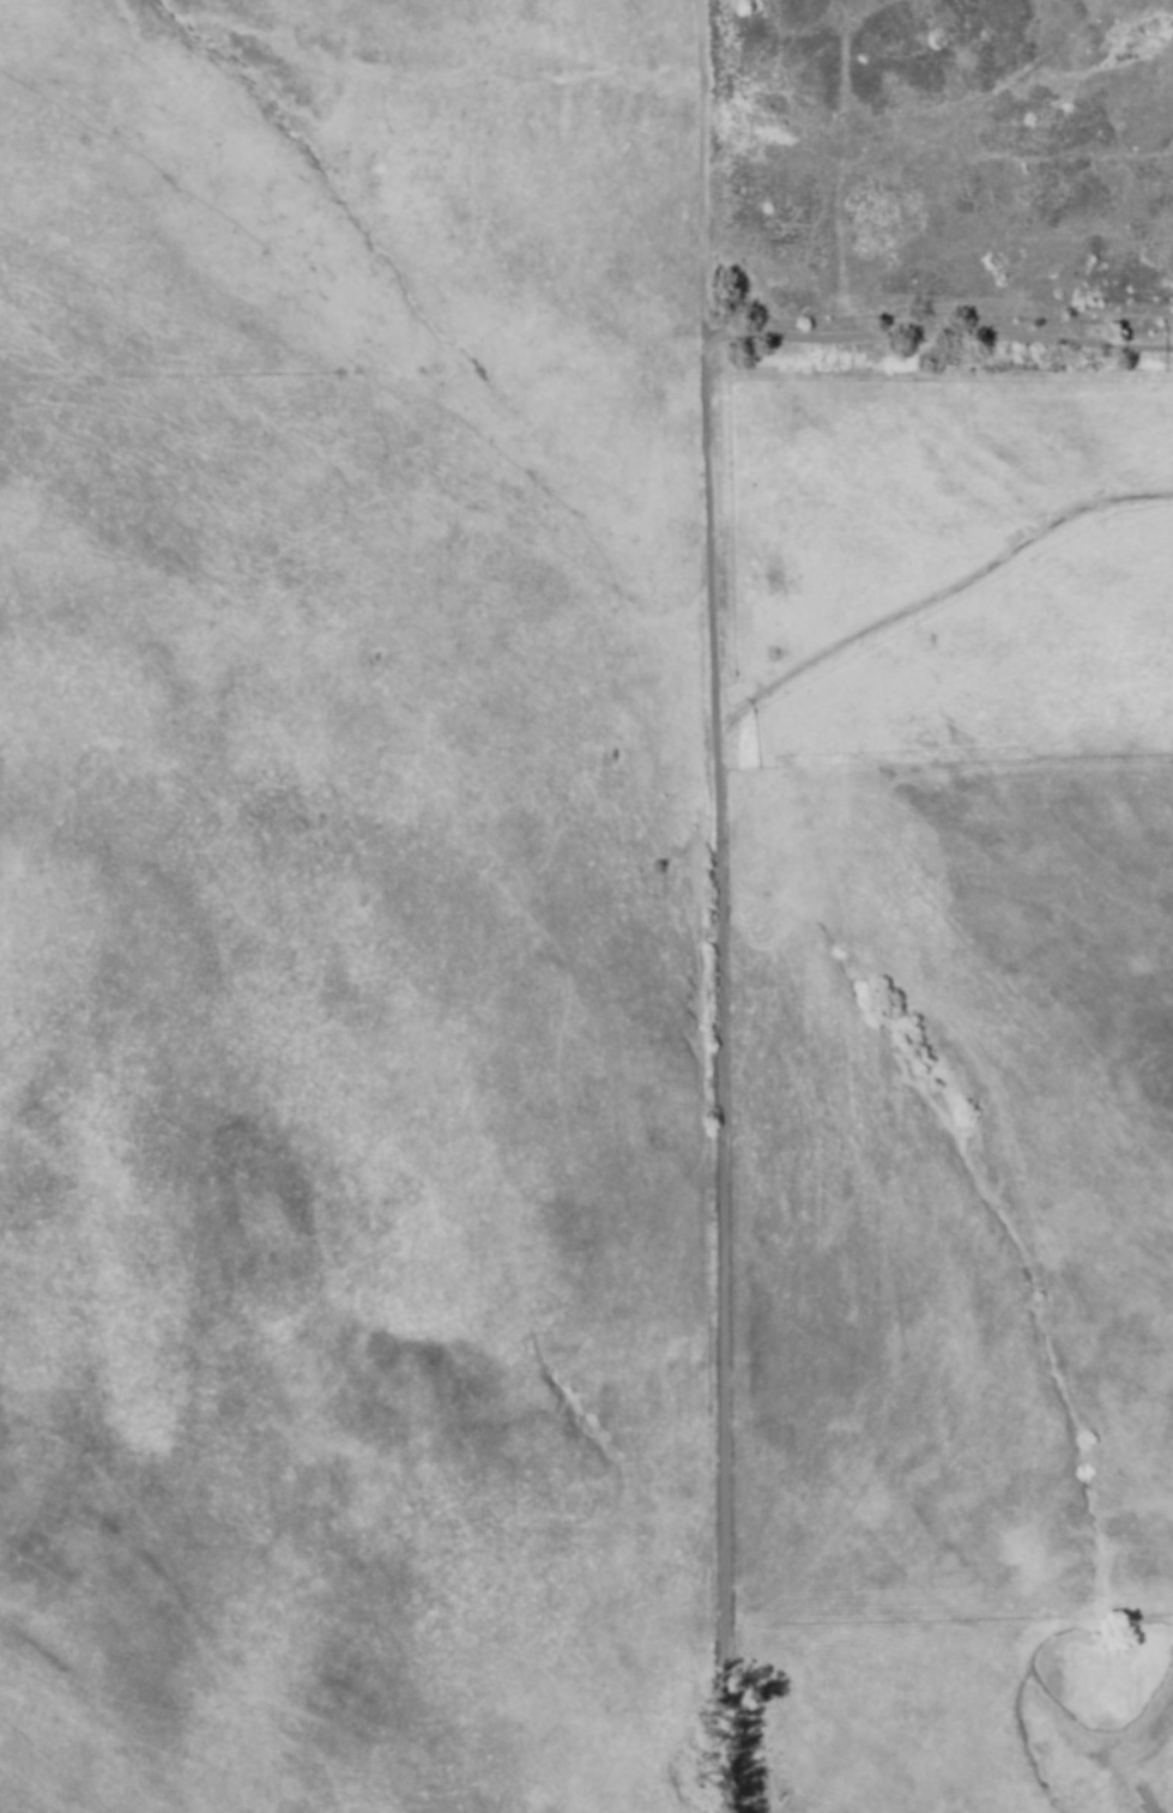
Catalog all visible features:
road: (941, 333)
road: (714, 906)

